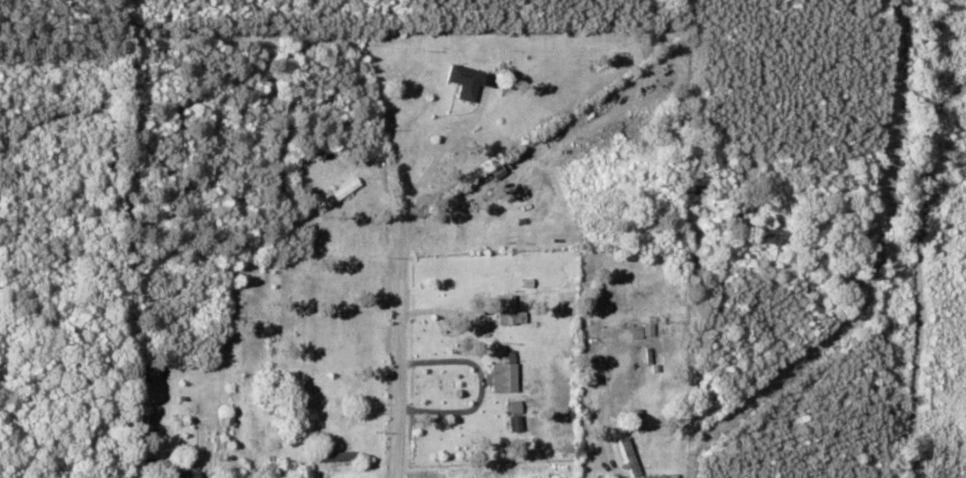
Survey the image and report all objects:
building: (470, 80)
building: (340, 192)
building: (508, 308)
road: (402, 328)
building: (645, 330)
building: (505, 377)
building: (517, 407)
building: (185, 473)

